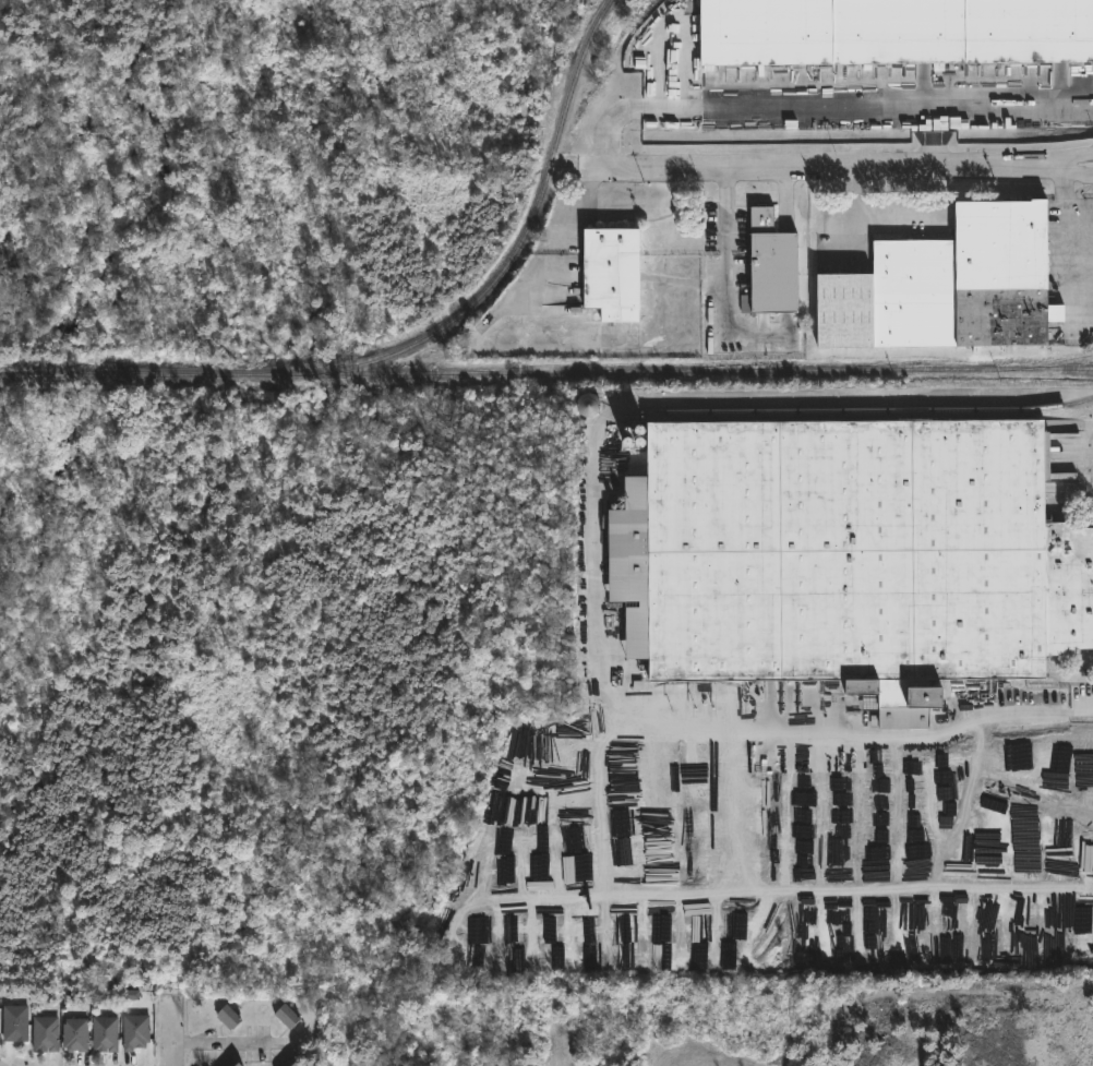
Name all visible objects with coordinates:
building: (896, 33)
road: (867, 108)
road: (611, 129)
road: (1059, 160)
road: (800, 167)
road: (1059, 173)
road: (1074, 244)
building: (766, 264)
building: (616, 272)
building: (941, 286)
railway: (409, 345)
railway: (1049, 361)
railway: (692, 371)
road: (861, 402)
railway: (873, 411)
road: (610, 420)
building: (851, 559)
road: (699, 730)
building: (989, 852)
road: (795, 896)
building: (629, 948)
building: (629, 966)
building: (291, 1016)
building: (229, 1018)
building: (15, 1023)
road: (173, 1031)
building: (135, 1032)
building: (46, 1034)
building: (106, 1034)
building: (77, 1035)
road: (224, 1042)
building: (231, 1063)
building: (289, 1063)

